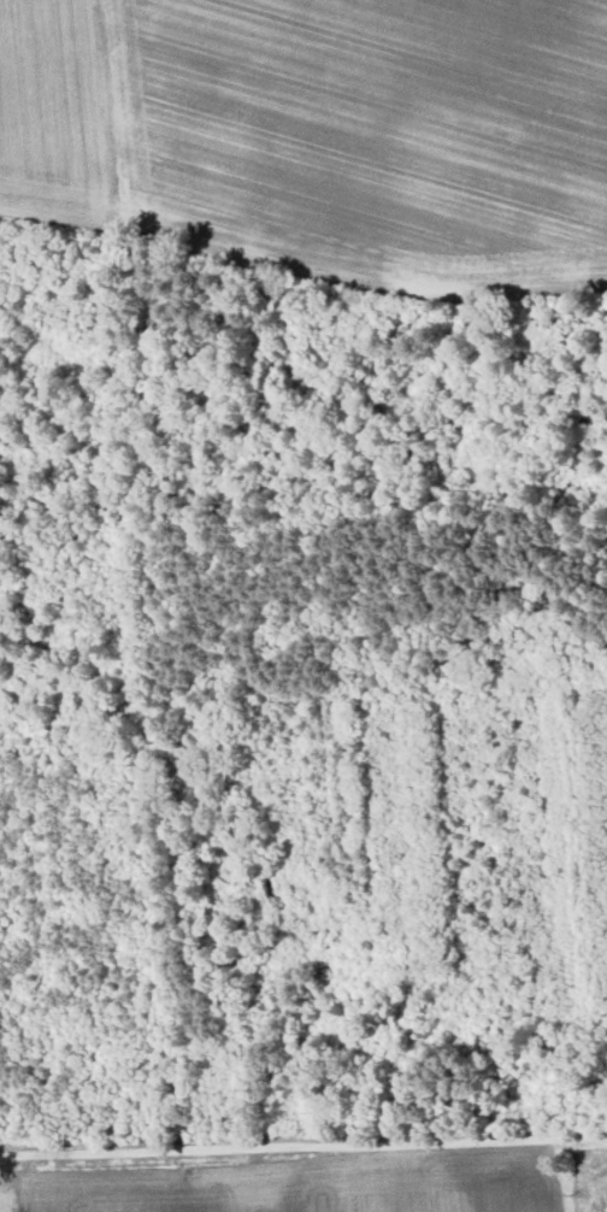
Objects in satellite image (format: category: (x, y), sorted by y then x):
road: (477, 1137)

